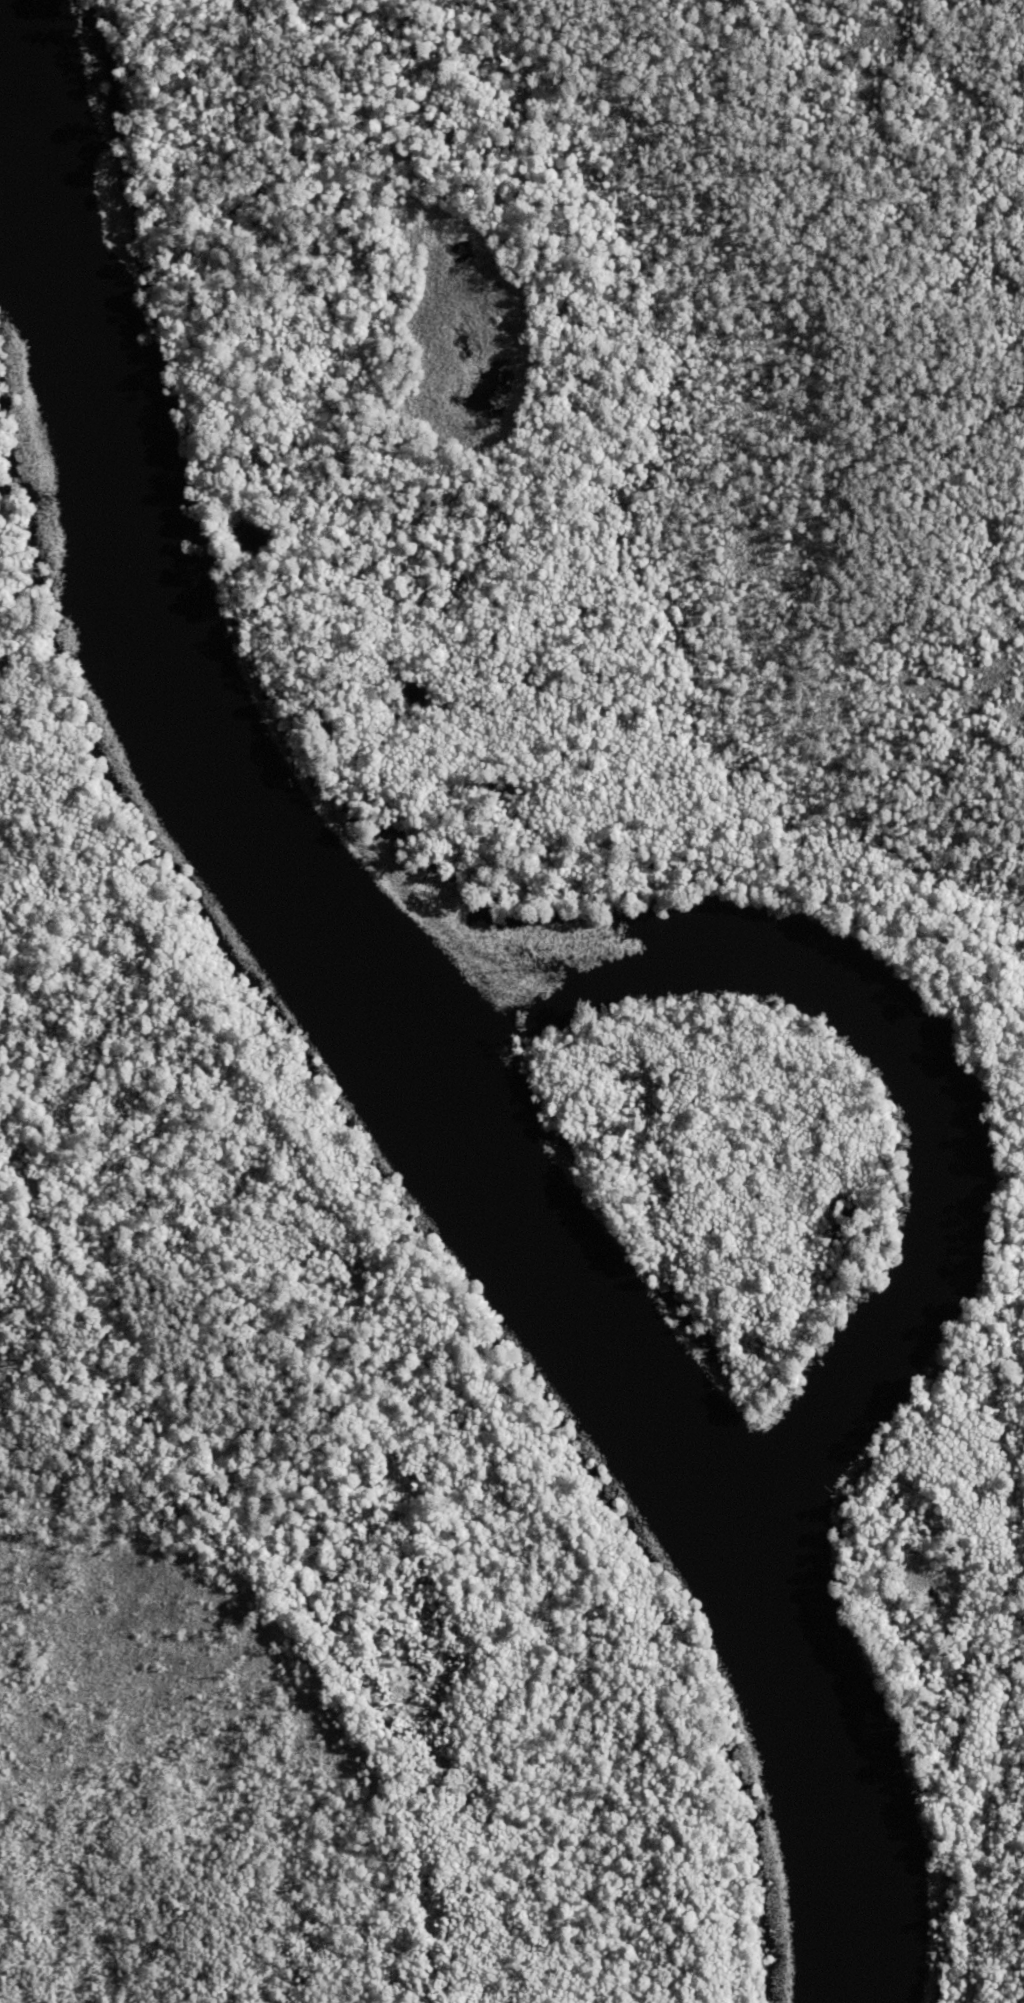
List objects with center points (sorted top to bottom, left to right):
river: (23, 208)
river: (444, 1112)

